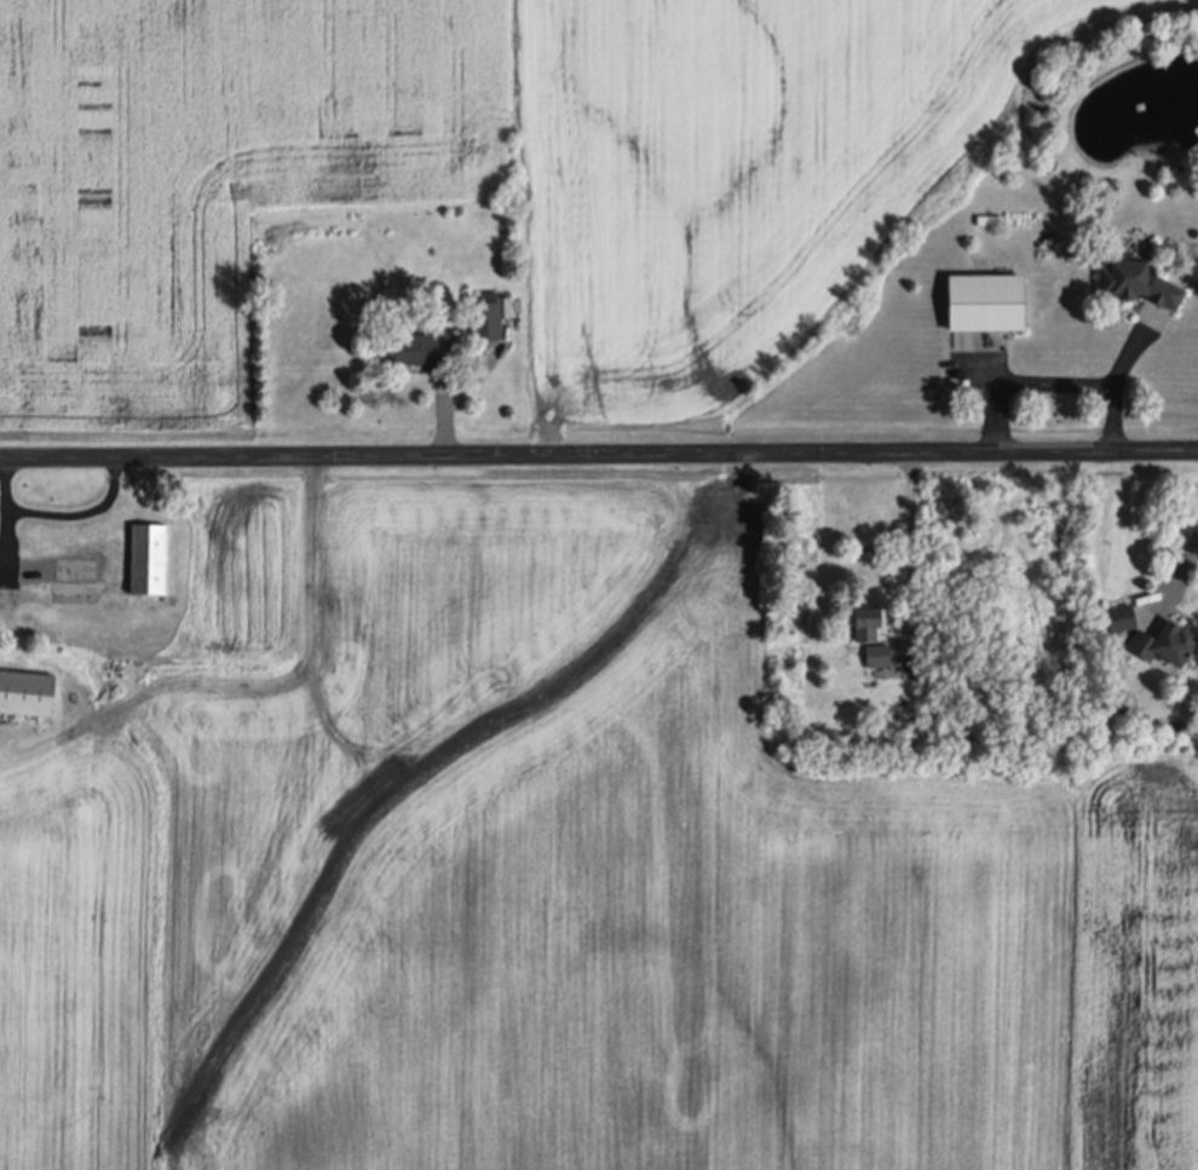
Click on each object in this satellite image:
building: (1136, 282)
building: (985, 301)
building: (486, 317)
building: (422, 350)
road: (1052, 379)
road: (599, 453)
road: (76, 514)
road: (1, 543)
road: (905, 548)
building: (137, 561)
road: (1183, 570)
building: (1119, 618)
building: (866, 623)
building: (1164, 644)
building: (877, 656)
road: (247, 684)
building: (27, 693)

